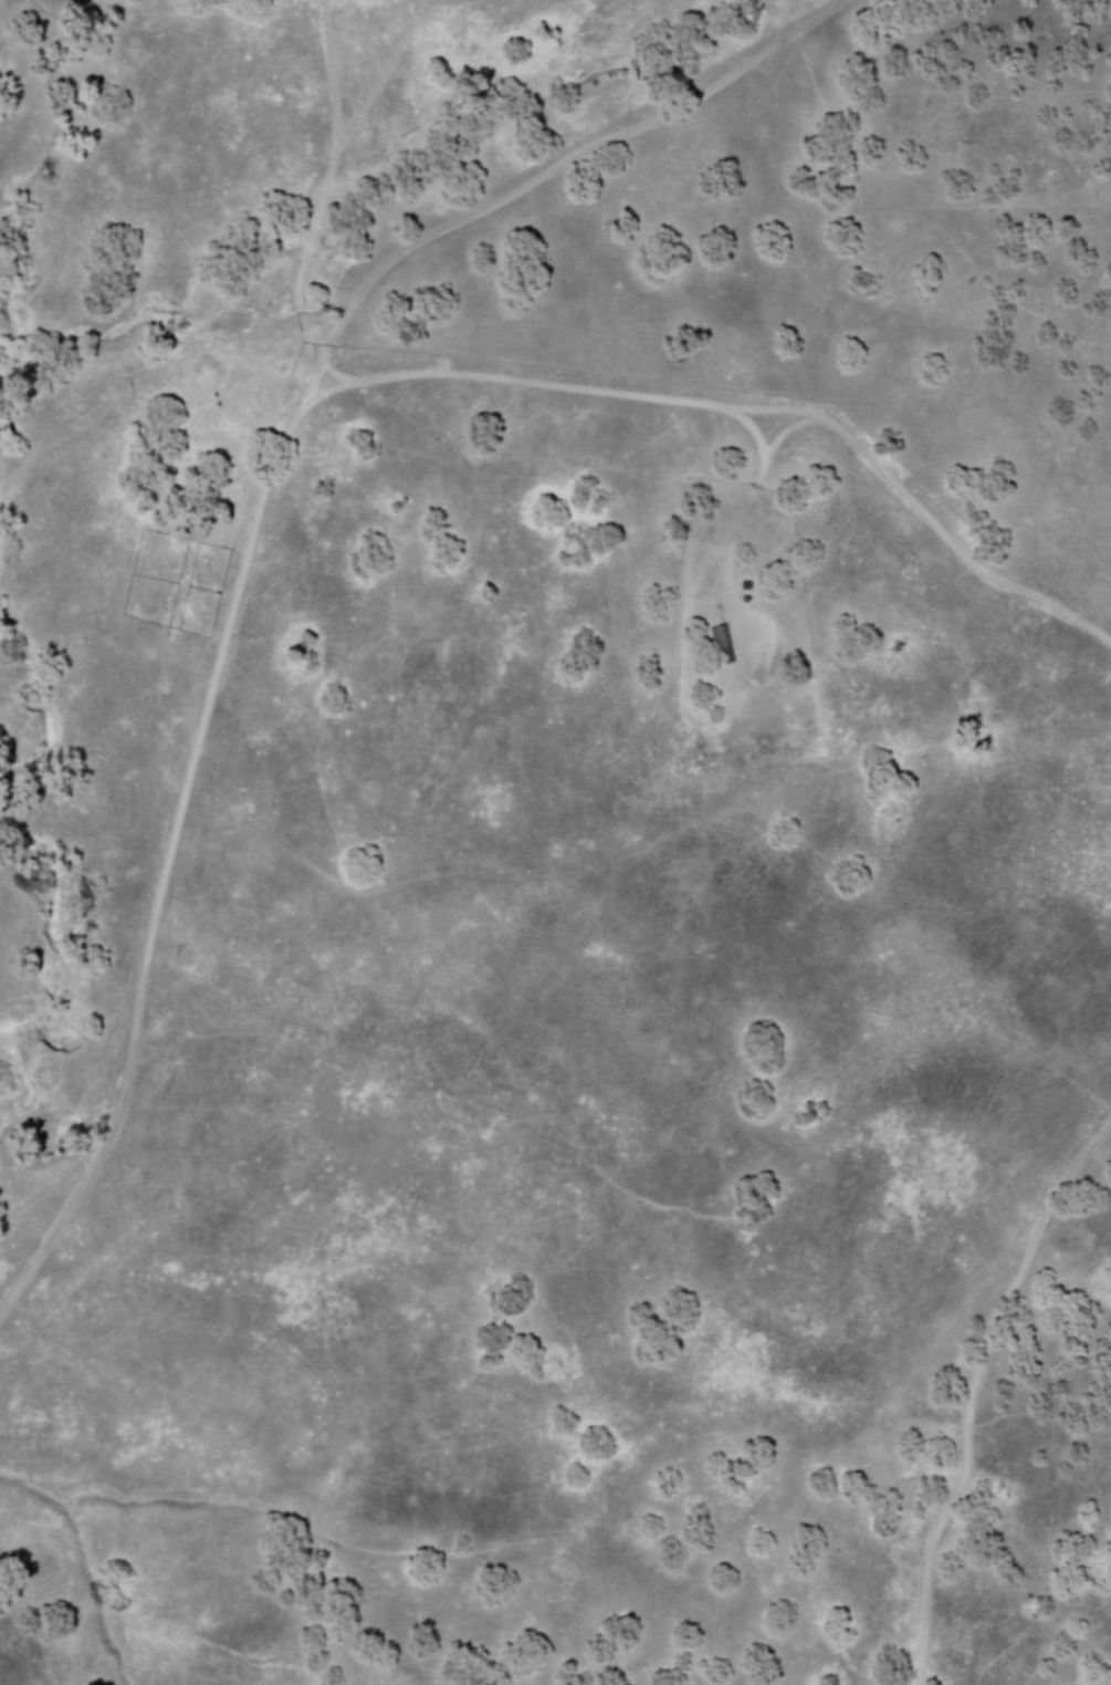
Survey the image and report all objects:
road: (754, 407)
road: (256, 498)
building: (720, 645)
road: (972, 1386)

